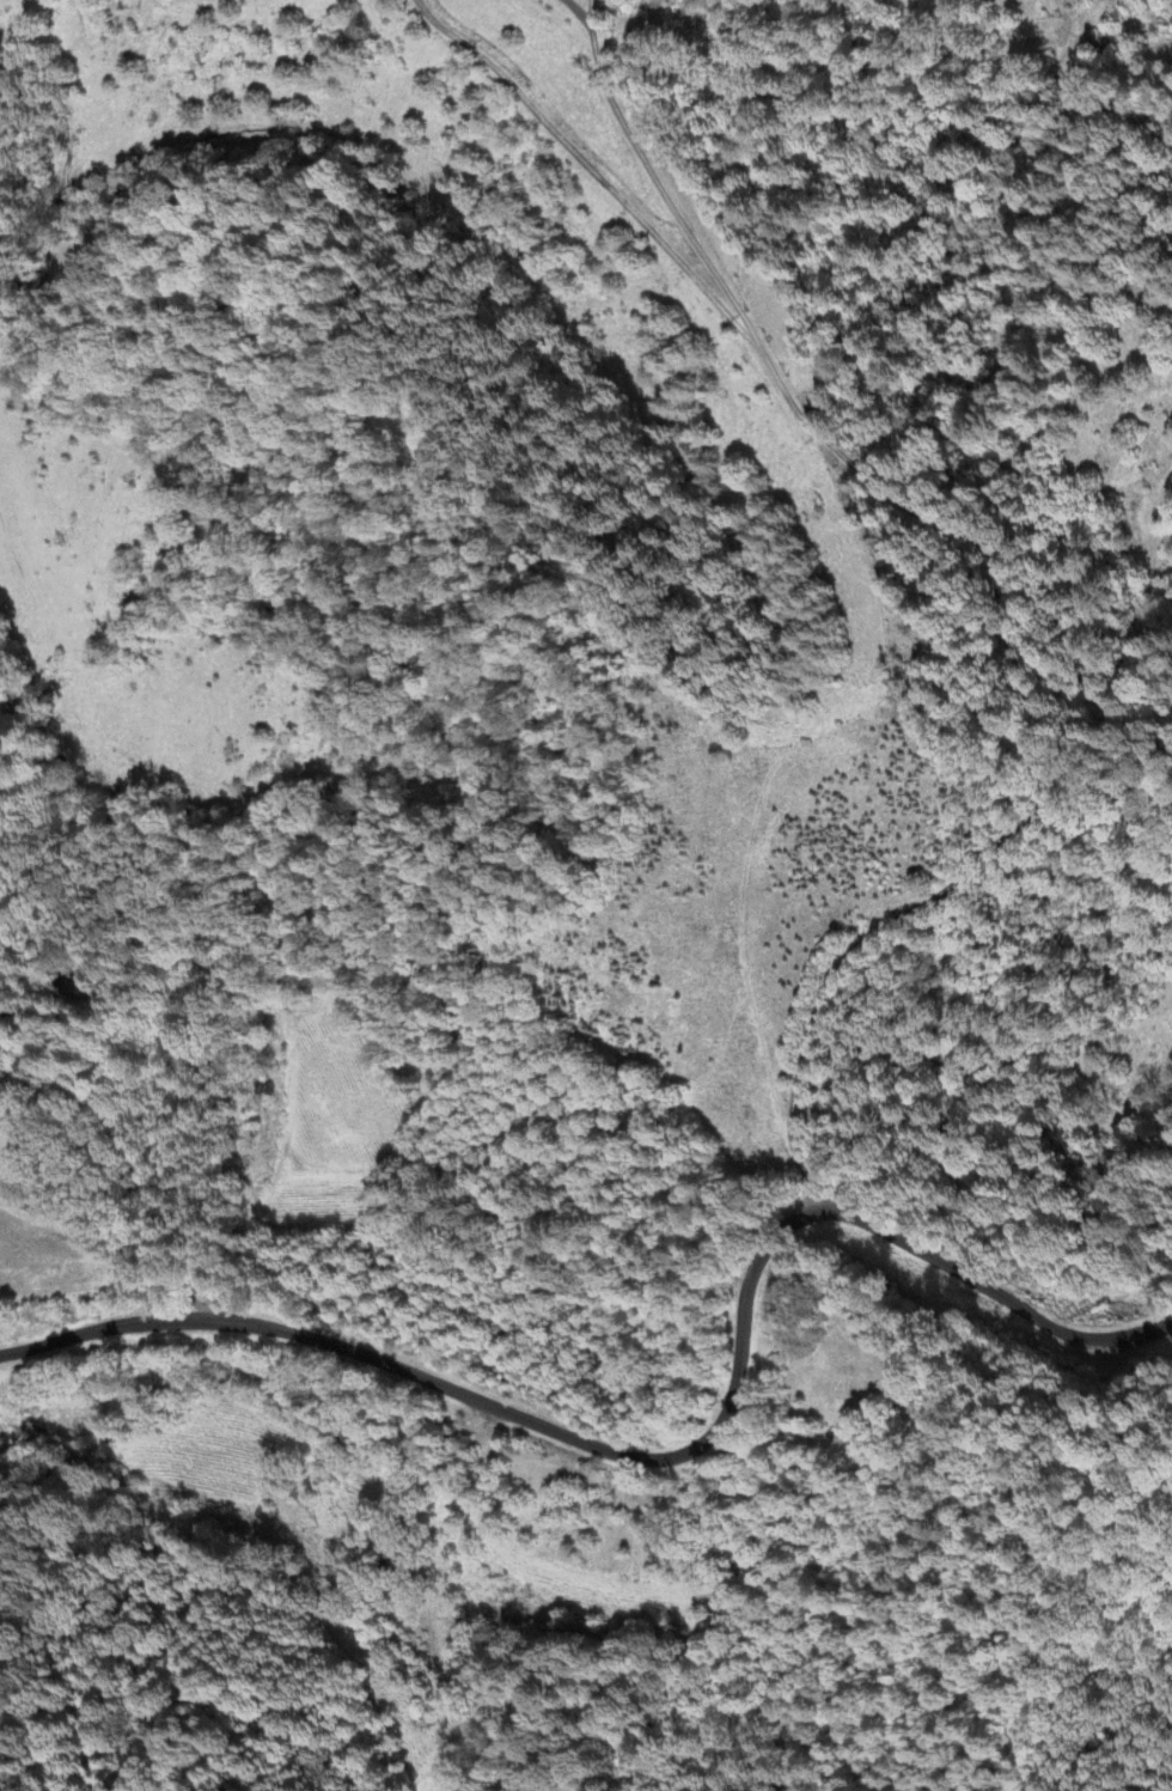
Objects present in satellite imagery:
park: (19, 1166)
road: (669, 1458)

